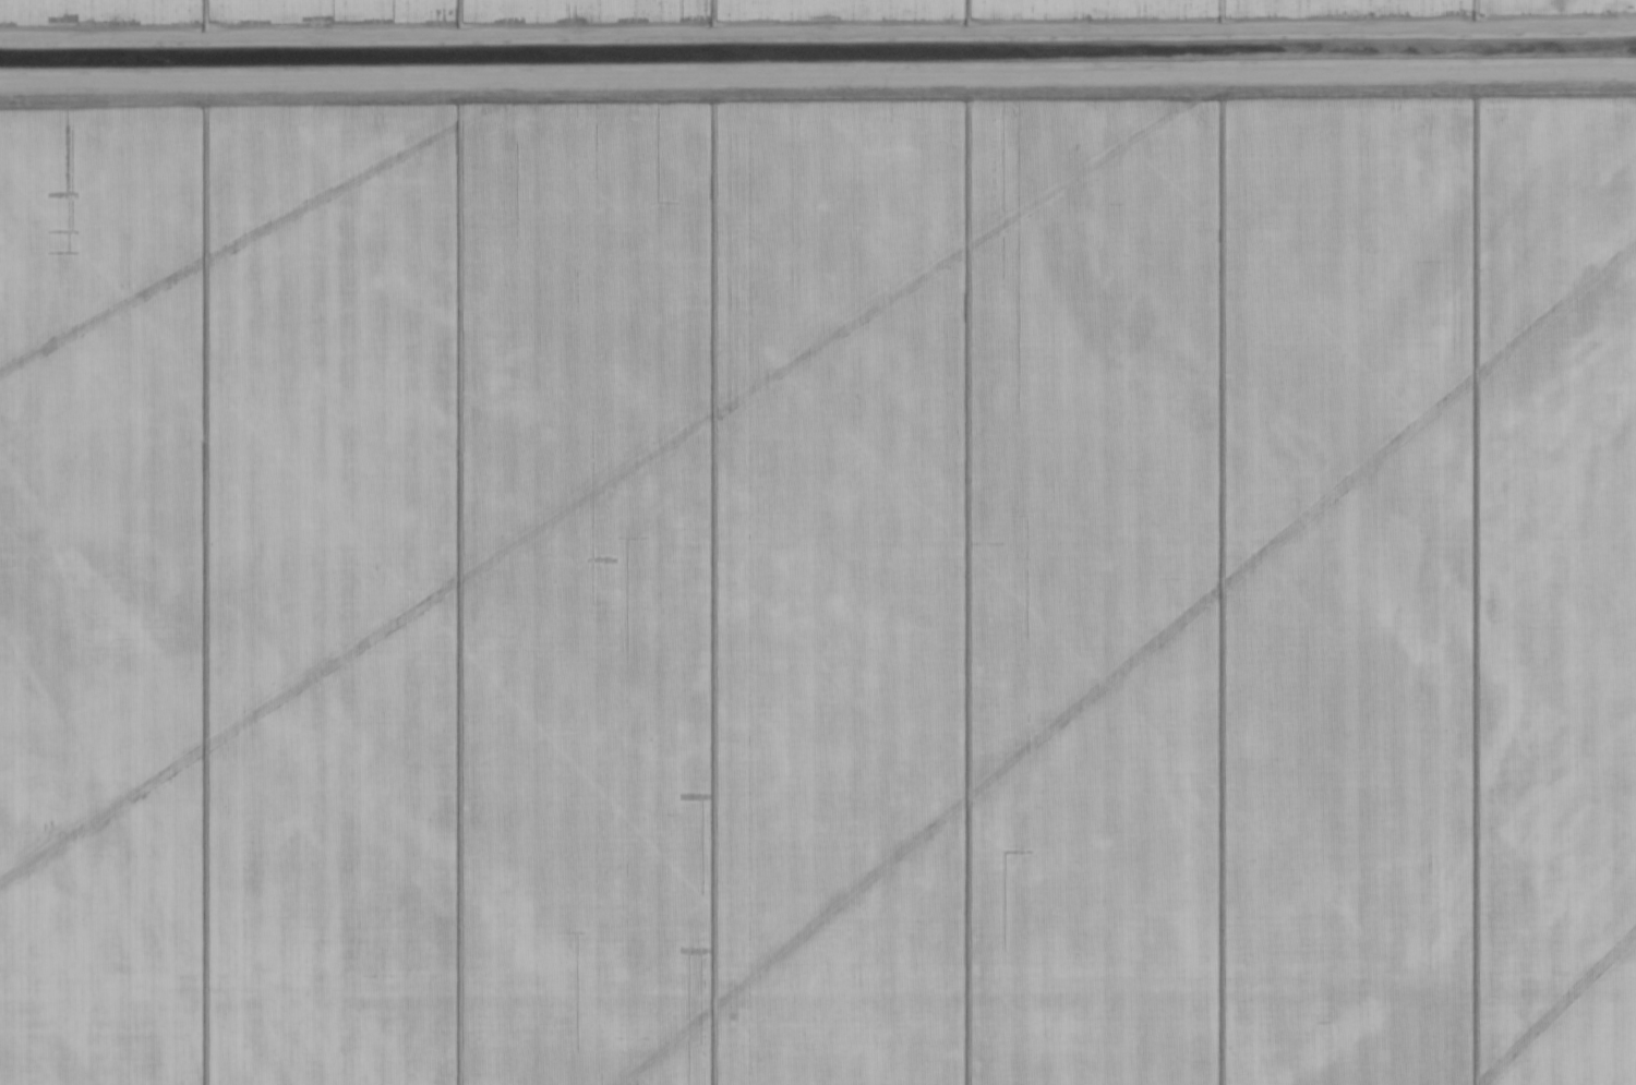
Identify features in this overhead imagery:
road: (818, 77)

